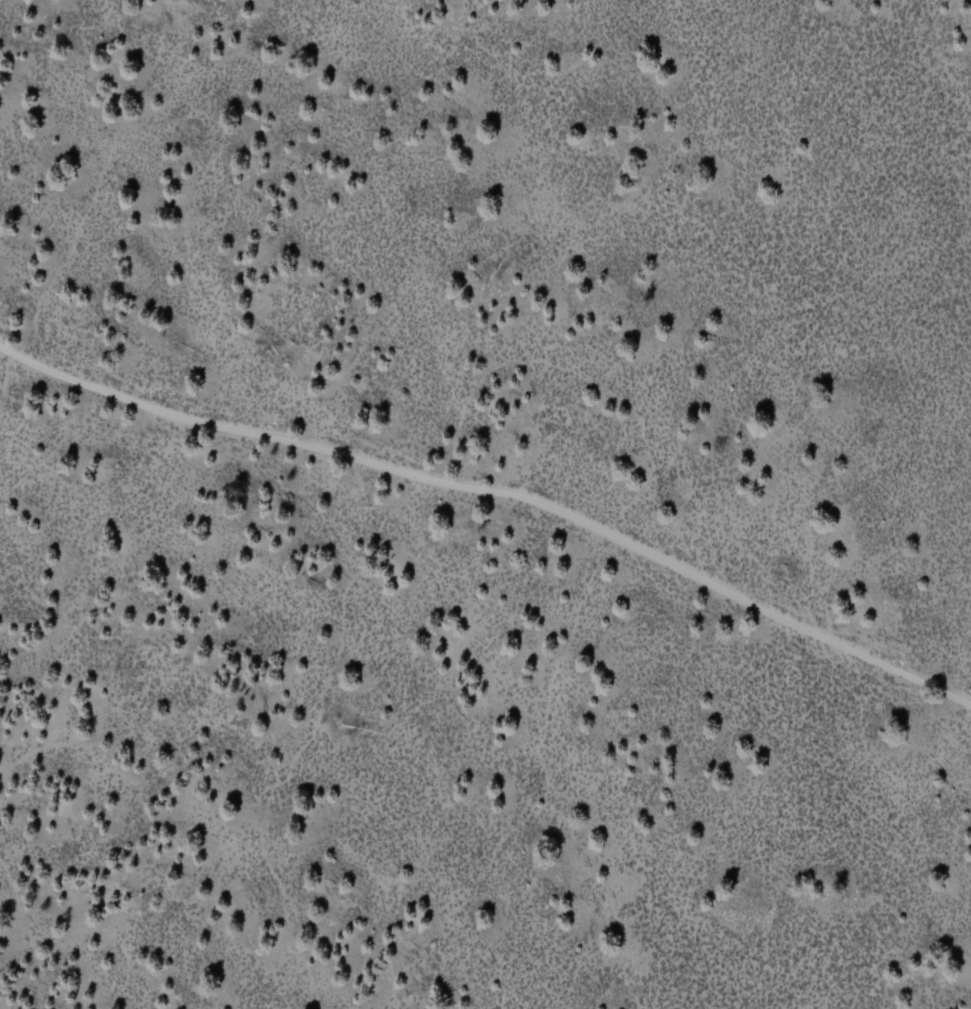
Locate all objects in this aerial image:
road: (497, 498)

